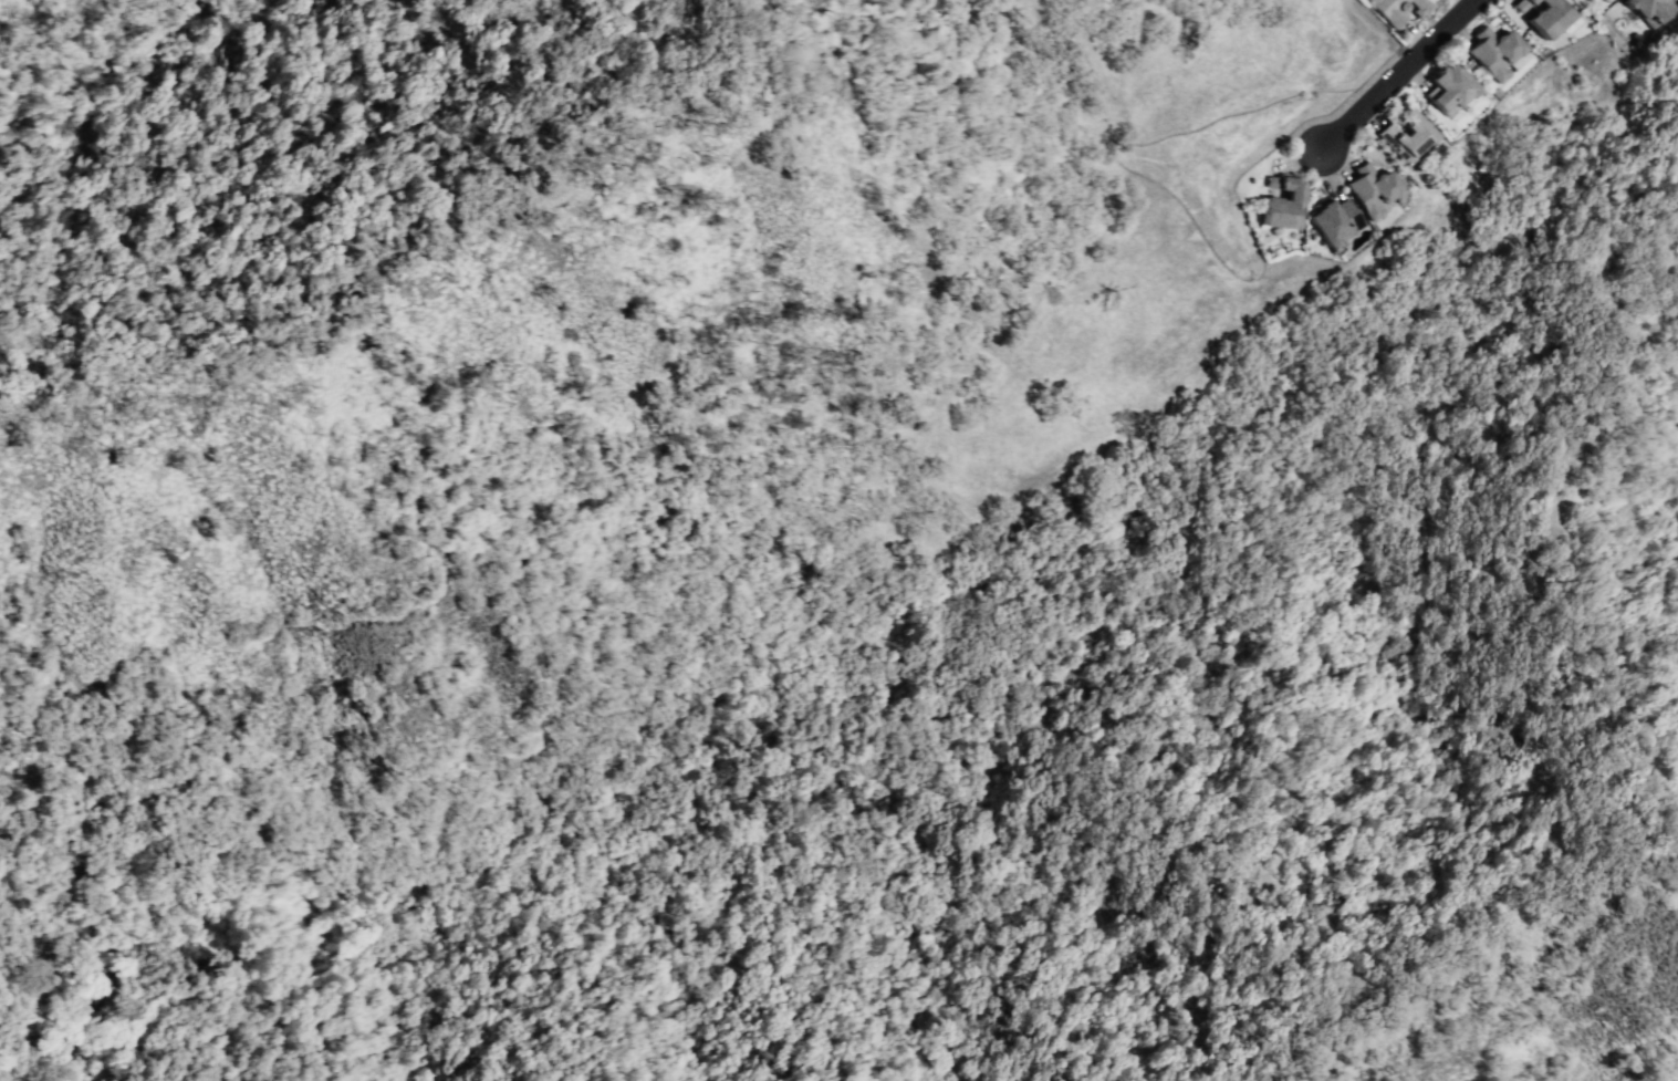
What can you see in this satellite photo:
building: (1601, 0)
building: (1605, 1)
road: (1461, 3)
building: (1398, 9)
building: (1646, 11)
building: (1540, 14)
road: (1380, 31)
building: (1492, 53)
building: (1518, 60)
road: (1398, 75)
building: (1447, 92)
building: (1405, 141)
building: (1369, 190)
building: (1282, 204)
building: (1333, 221)

